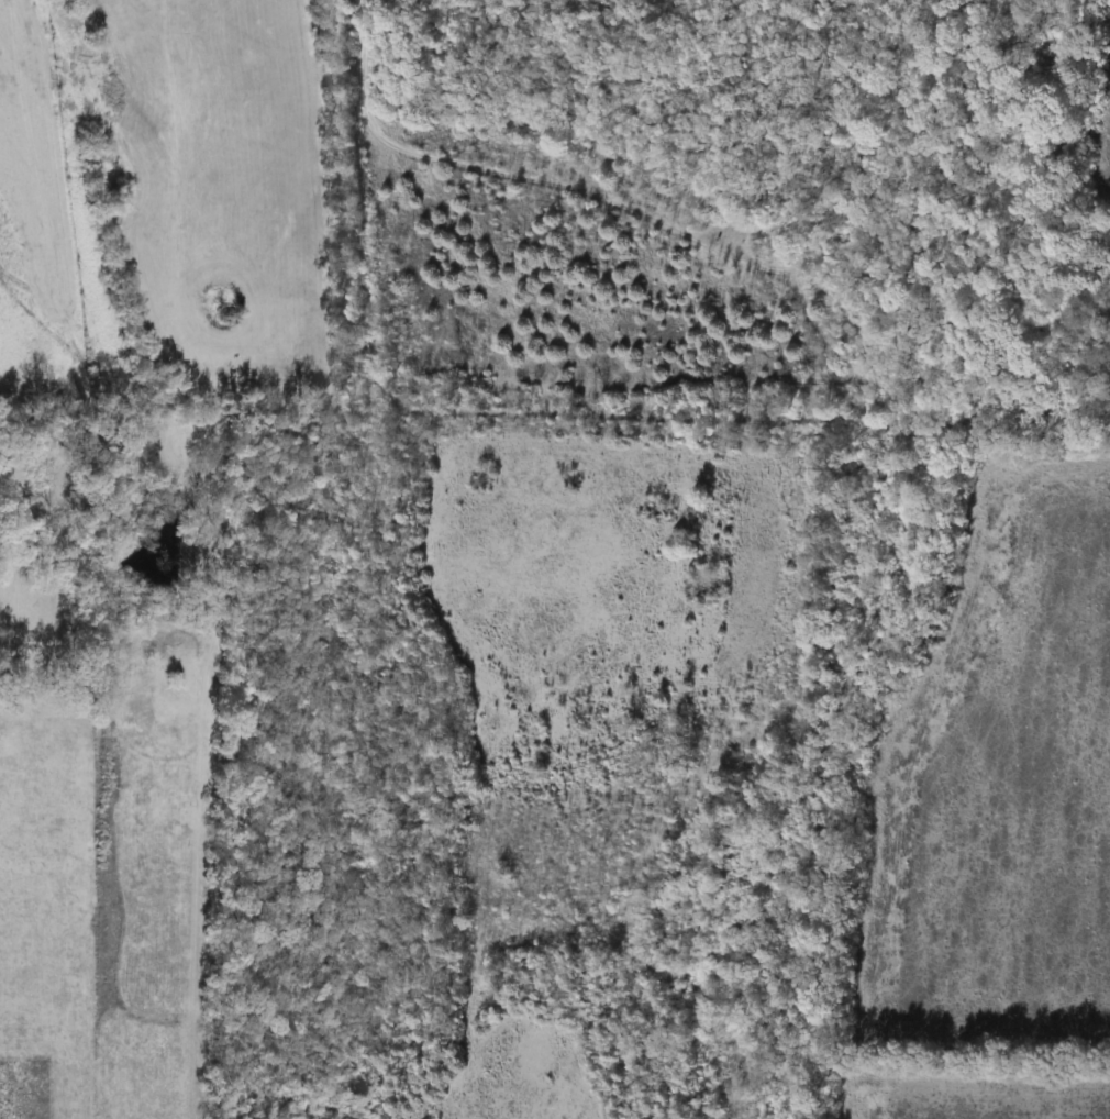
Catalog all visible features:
road: (332, 14)

